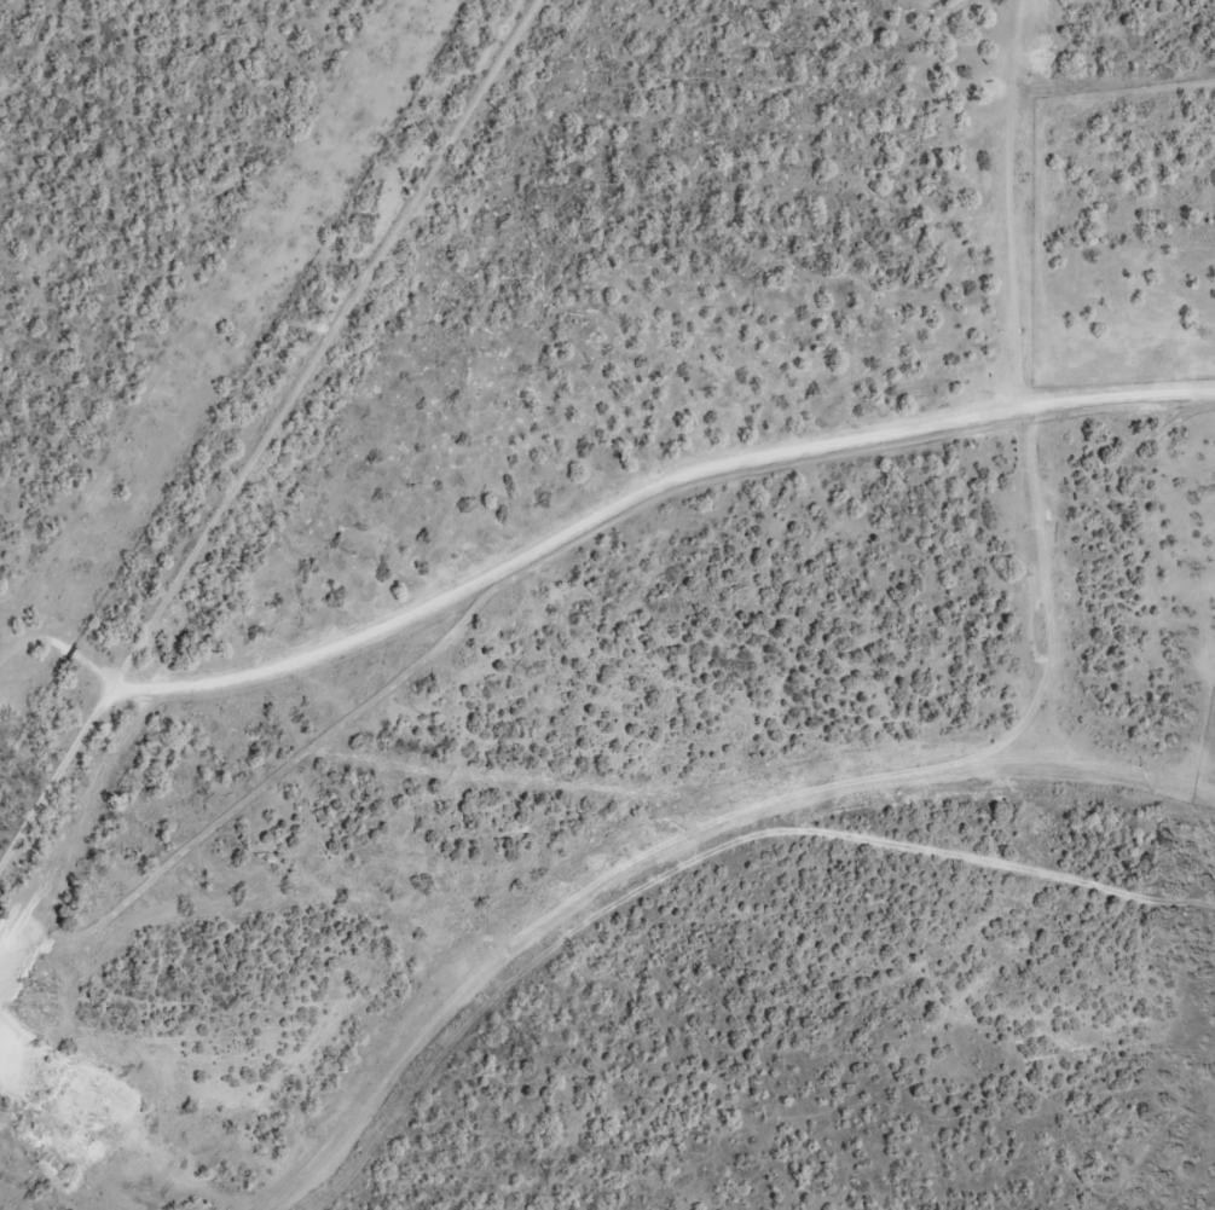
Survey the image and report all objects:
railway: (279, 447)
road: (607, 833)
road: (943, 1071)

